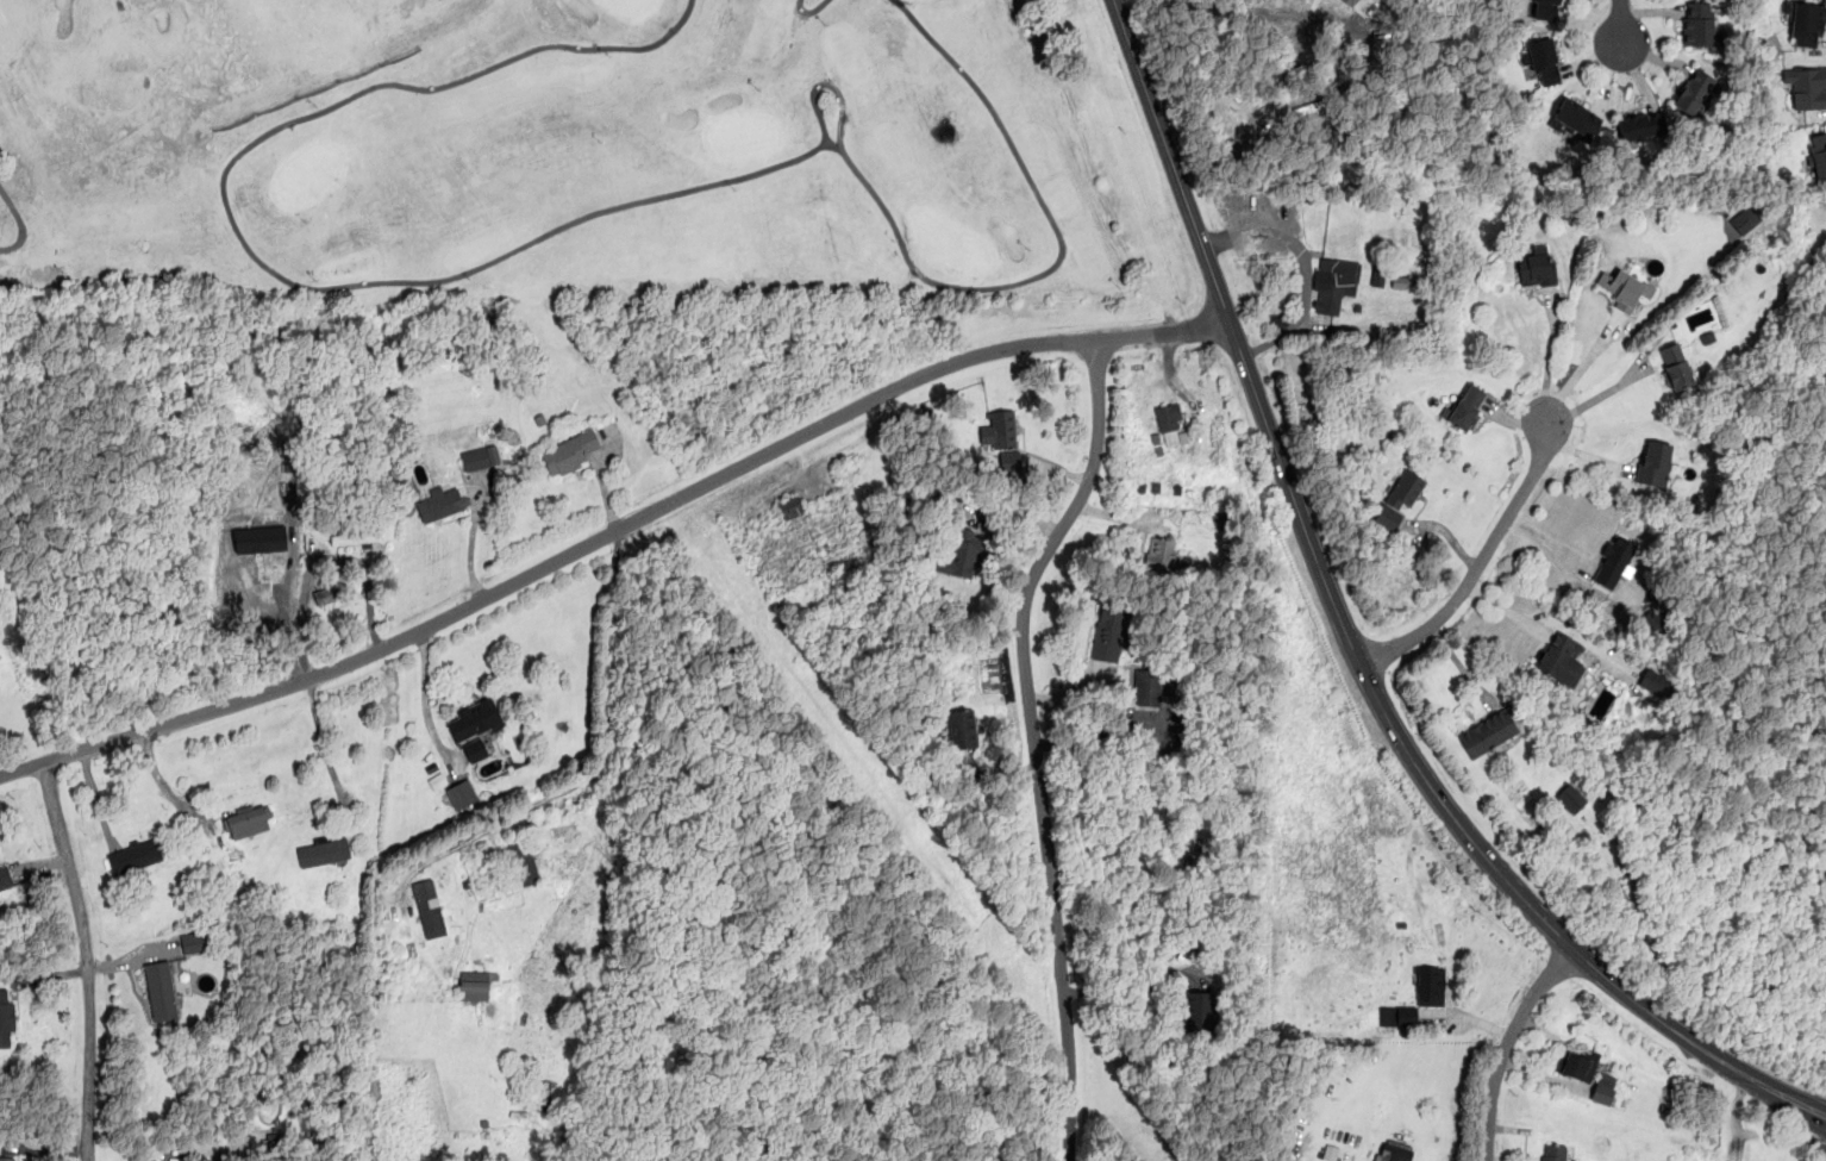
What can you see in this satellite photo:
building: (1351, 2)
building: (1542, 8)
building: (1805, 21)
building: (1697, 23)
road: (1619, 24)
building: (1540, 60)
building: (1807, 85)
building: (1693, 90)
building: (1575, 119)
building: (1640, 126)
park: (570, 151)
building: (1816, 152)
road: (1303, 266)
building: (1537, 266)
building: (1399, 282)
building: (1333, 283)
building: (1624, 289)
road: (1549, 355)
building: (1675, 366)
road: (1580, 367)
road: (1597, 398)
building: (1467, 406)
building: (1169, 424)
building: (999, 430)
building: (569, 452)
building: (1007, 457)
building: (475, 458)
building: (1653, 463)
building: (1397, 499)
building: (440, 503)
building: (789, 506)
road: (611, 530)
building: (356, 532)
building: (261, 539)
road: (470, 547)
building: (1161, 553)
building: (961, 555)
building: (1613, 560)
road: (1480, 562)
road: (323, 563)
building: (325, 594)
building: (1108, 632)
road: (1351, 641)
building: (1561, 658)
building: (1652, 680)
building: (1149, 686)
road: (423, 693)
building: (474, 728)
building: (962, 729)
building: (1488, 734)
road: (607, 735)
road: (1032, 742)
road: (324, 745)
building: (459, 788)
road: (164, 789)
road: (562, 793)
building: (1570, 798)
building: (246, 820)
road: (463, 841)
building: (323, 851)
building: (135, 855)
building: (521, 857)
building: (5, 879)
building: (429, 907)
building: (193, 941)
road: (86, 960)
building: (474, 985)
building: (1426, 985)
building: (161, 992)
road: (1128, 992)
building: (1199, 1010)
building: (1406, 1016)
building: (6, 1017)
road: (1505, 1044)
building: (1572, 1065)
building: (1608, 1094)
building: (540, 1096)
road: (1736, 1116)
building: (1392, 1151)
building: (1553, 1153)
building: (7, 1159)

